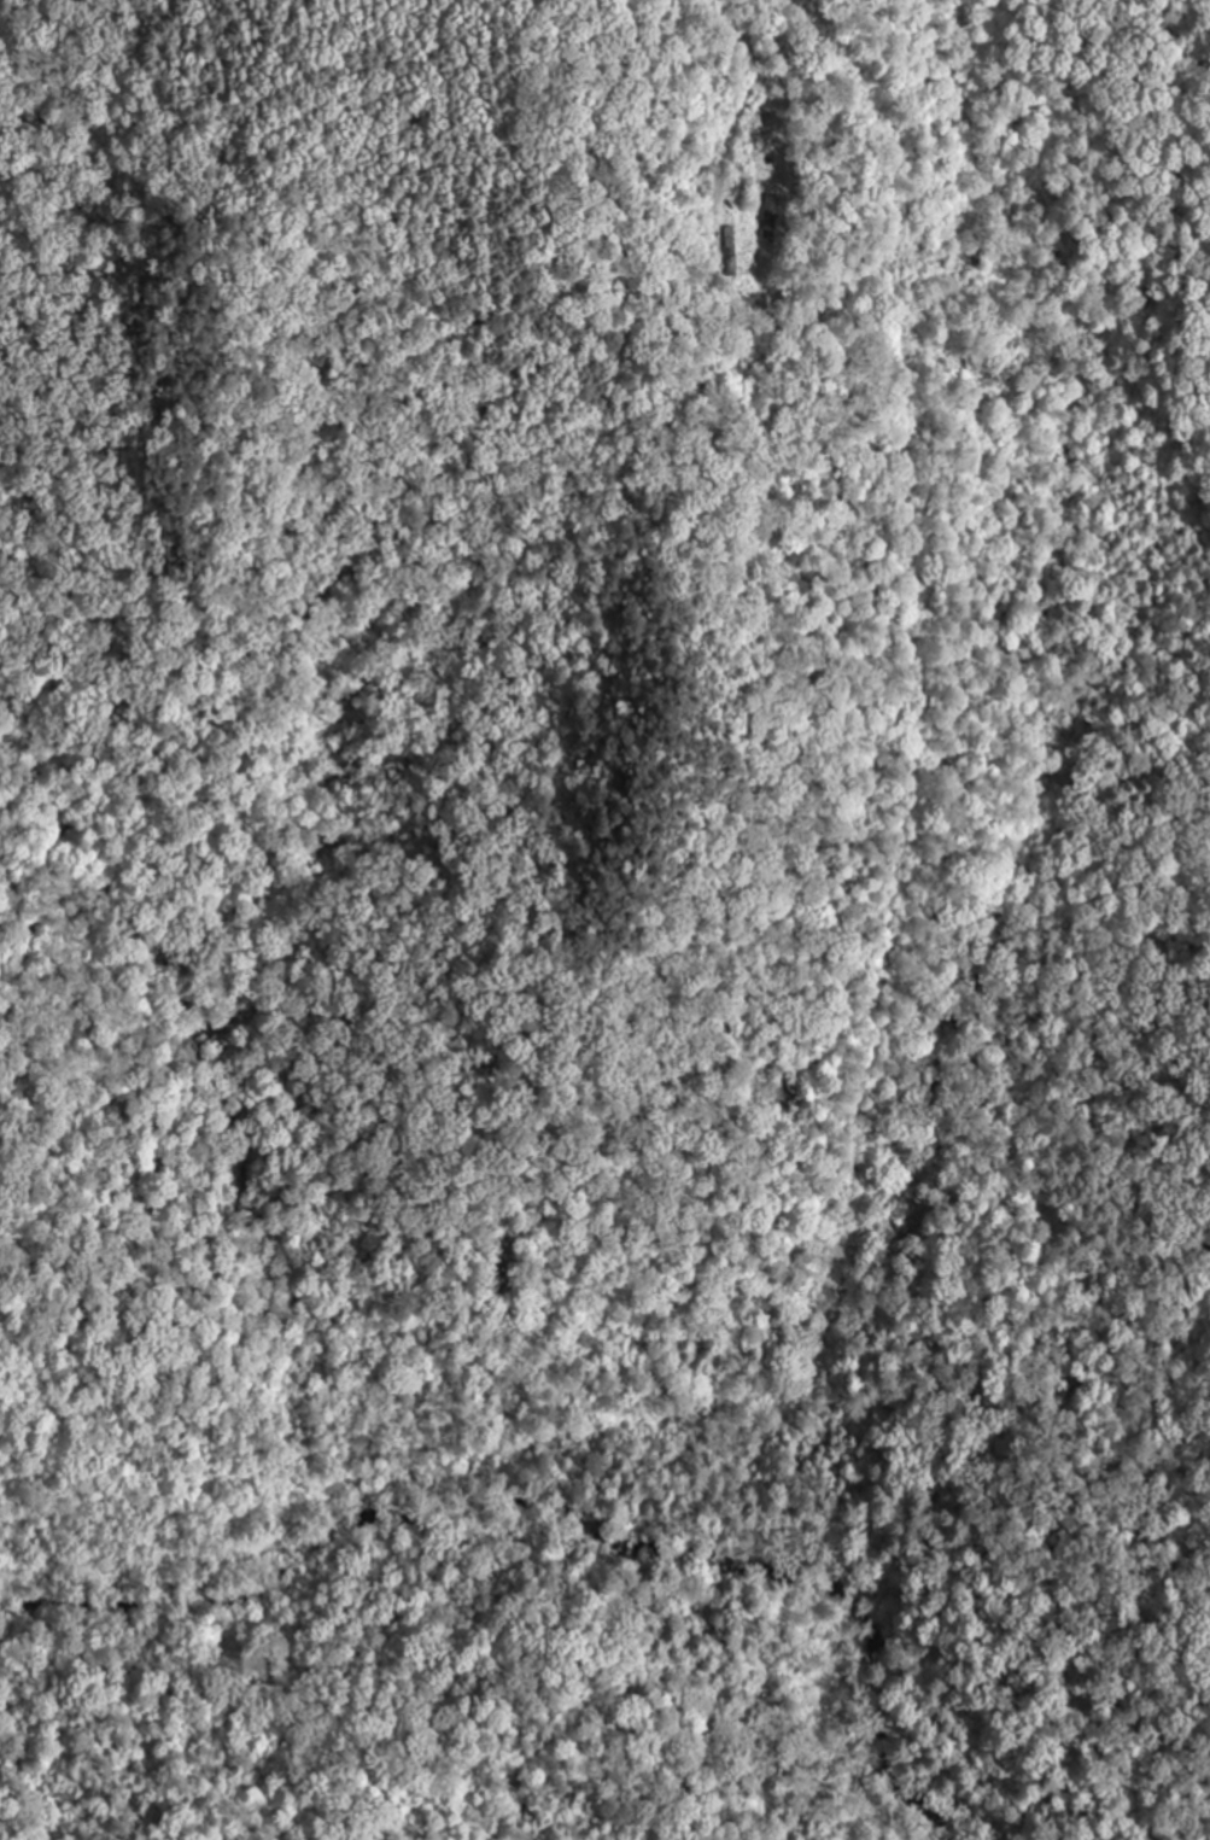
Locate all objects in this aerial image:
road: (113, 1173)

